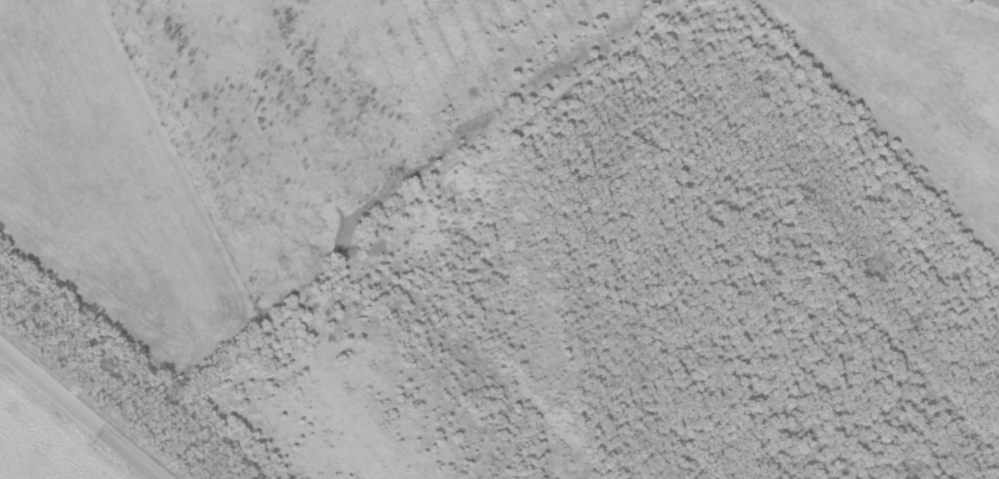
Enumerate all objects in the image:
railway: (112, 386)
road: (75, 417)

